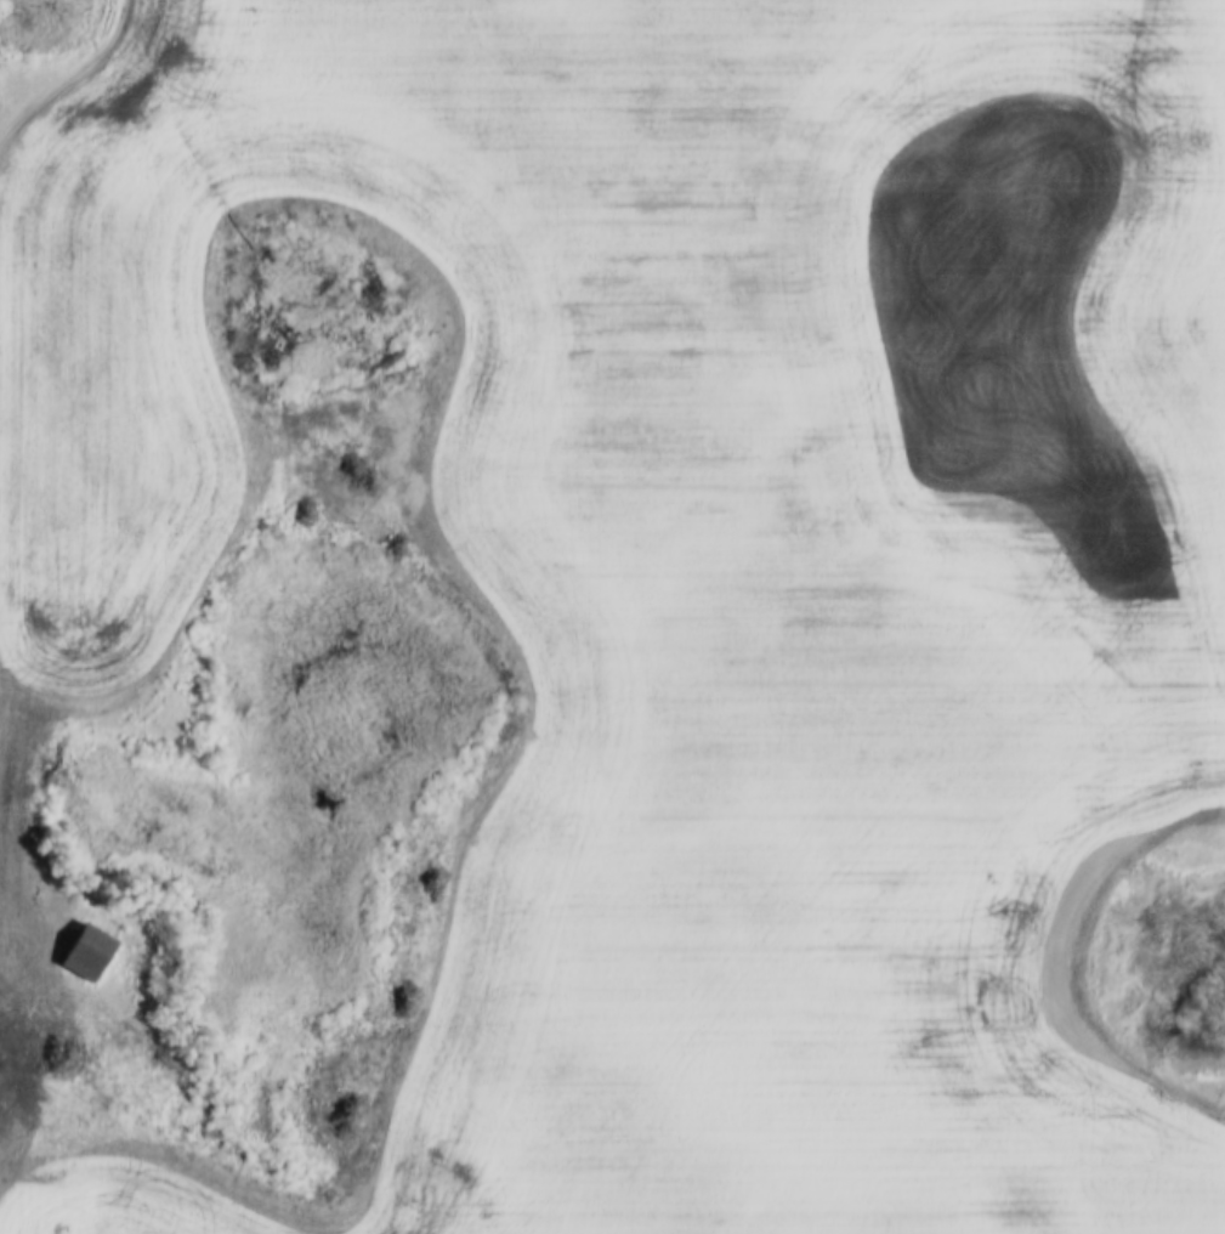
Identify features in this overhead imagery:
road: (75, 83)
building: (86, 952)

